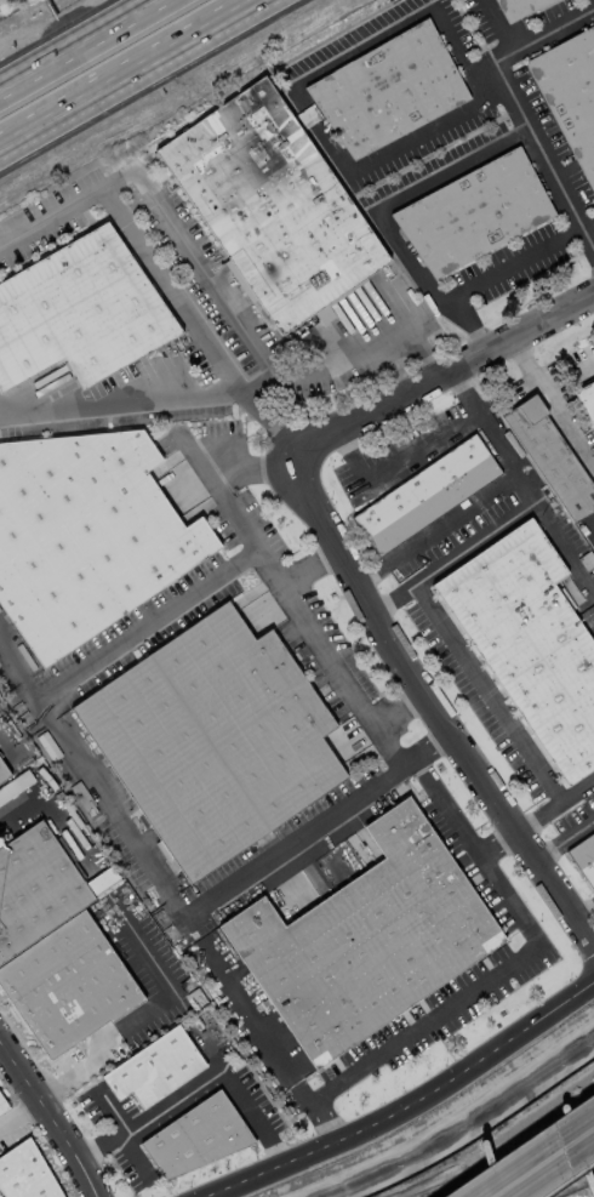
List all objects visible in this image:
building: (516, 7)
road: (388, 25)
road: (82, 47)
road: (507, 51)
road: (122, 69)
building: (388, 90)
building: (571, 96)
road: (307, 114)
road: (402, 147)
road: (427, 183)
building: (272, 205)
building: (473, 212)
road: (137, 243)
road: (195, 260)
road: (419, 307)
building: (79, 310)
road: (590, 361)
road: (444, 376)
building: (587, 400)
road: (121, 403)
road: (552, 403)
road: (269, 423)
road: (495, 434)
building: (550, 457)
road: (399, 460)
building: (425, 494)
road: (538, 501)
road: (588, 521)
road: (439, 528)
building: (85, 535)
road: (567, 546)
road: (453, 552)
road: (309, 565)
road: (210, 578)
building: (530, 643)
road: (11, 662)
road: (344, 680)
road: (485, 690)
road: (434, 706)
road: (400, 707)
road: (41, 708)
road: (1, 736)
building: (212, 739)
building: (2, 774)
road: (554, 802)
road: (110, 808)
road: (55, 814)
road: (564, 836)
road: (497, 842)
road: (284, 844)
building: (583, 855)
road: (584, 908)
building: (366, 937)
building: (53, 947)
road: (499, 969)
road: (236, 997)
road: (147, 1011)
road: (209, 1043)
building: (154, 1067)
road: (193, 1081)
road: (303, 1090)
building: (2, 1105)
road: (401, 1106)
road: (16, 1115)
road: (46, 1124)
building: (193, 1138)
road: (537, 1157)
railway: (520, 1165)
railway: (533, 1170)
building: (25, 1174)

